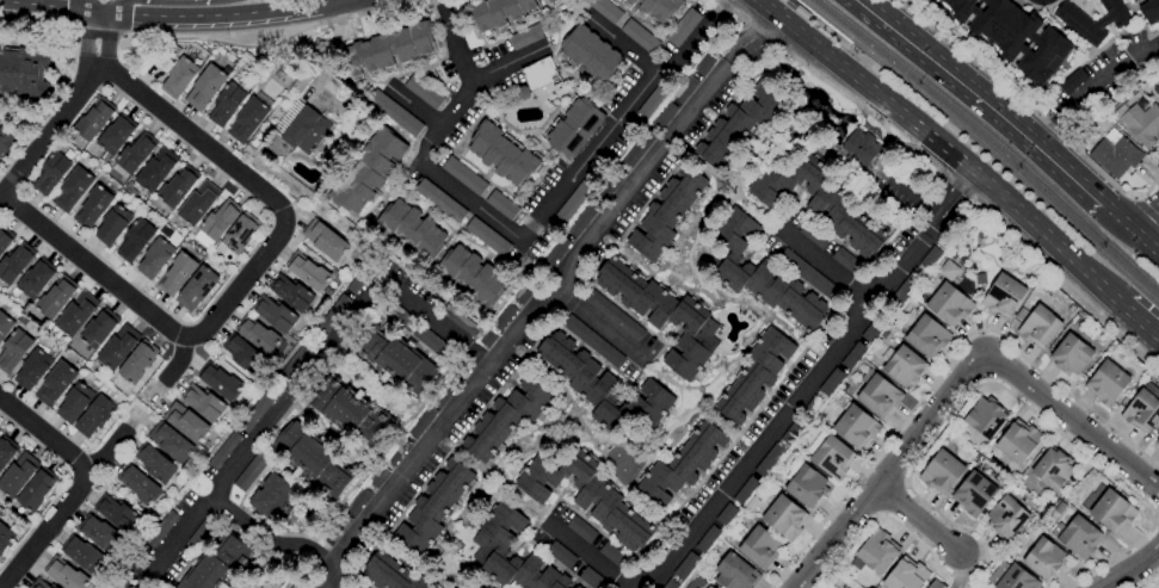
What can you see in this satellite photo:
road: (159, 1)
building: (1134, 1)
building: (553, 2)
road: (722, 4)
road: (84, 5)
road: (50, 6)
building: (656, 8)
building: (796, 8)
road: (372, 11)
building: (605, 11)
building: (1149, 11)
building: (497, 13)
road: (212, 14)
road: (37, 25)
building: (1086, 25)
building: (682, 27)
road: (97, 35)
road: (98, 36)
building: (528, 36)
building: (1013, 36)
building: (640, 37)
road: (695, 41)
road: (451, 42)
road: (230, 45)
building: (388, 50)
railway: (843, 50)
building: (588, 54)
building: (704, 66)
road: (507, 68)
building: (24, 72)
building: (178, 78)
building: (536, 78)
building: (1072, 81)
road: (1092, 86)
building: (205, 87)
building: (684, 88)
building: (423, 92)
road: (984, 98)
building: (654, 101)
building: (228, 103)
road: (413, 107)
road: (1031, 111)
building: (395, 113)
building: (664, 116)
building: (249, 117)
building: (93, 120)
building: (1142, 123)
building: (738, 125)
building: (574, 126)
building: (301, 128)
road: (50, 130)
building: (115, 136)
railway: (994, 138)
building: (6, 141)
railway: (985, 146)
road: (945, 147)
building: (637, 148)
building: (859, 148)
road: (912, 148)
building: (503, 153)
building: (135, 154)
building: (1115, 154)
building: (155, 171)
building: (366, 171)
building: (50, 173)
building: (464, 177)
building: (610, 182)
building: (72, 188)
building: (177, 188)
road: (916, 199)
building: (439, 200)
building: (819, 202)
building: (197, 203)
building: (573, 204)
building: (501, 205)
road: (1145, 206)
building: (93, 208)
road: (547, 209)
building: (667, 215)
building: (582, 218)
building: (218, 222)
building: (112, 225)
road: (1129, 228)
road: (1149, 228)
building: (411, 229)
building: (979, 234)
building: (239, 235)
building: (814, 235)
building: (487, 237)
building: (325, 240)
building: (4, 241)
building: (135, 241)
building: (554, 253)
building: (154, 258)
building: (930, 258)
building: (846, 261)
building: (14, 264)
road: (821, 264)
building: (308, 272)
building: (177, 274)
building: (760, 274)
building: (473, 276)
building: (808, 276)
road: (245, 278)
building: (35, 279)
building: (980, 279)
building: (357, 283)
building: (906, 287)
building: (196, 289)
building: (525, 291)
building: (290, 293)
building: (1003, 296)
road: (544, 298)
building: (55, 299)
building: (948, 304)
building: (334, 312)
building: (275, 314)
building: (75, 315)
building: (612, 315)
building: (662, 315)
building: (1021, 315)
building: (504, 317)
building: (458, 320)
road: (1141, 322)
building: (5, 324)
building: (1038, 327)
building: (99, 328)
road: (592, 328)
building: (871, 332)
building: (257, 335)
road: (1123, 335)
building: (927, 336)
building: (425, 339)
building: (487, 339)
building: (592, 341)
building: (118, 347)
building: (13, 351)
building: (242, 353)
building: (1071, 355)
building: (852, 357)
building: (393, 359)
road: (178, 360)
building: (137, 361)
building: (294, 361)
building: (905, 367)
building: (32, 370)
building: (754, 376)
road: (812, 379)
building: (220, 382)
road: (303, 382)
building: (55, 383)
building: (831, 383)
building: (1106, 383)
building: (603, 388)
building: (444, 392)
building: (879, 396)
road: (1071, 397)
building: (203, 402)
building: (74, 403)
building: (810, 408)
building: (1142, 409)
building: (255, 411)
building: (350, 413)
building: (94, 416)
building: (508, 417)
building: (985, 417)
road: (1071, 419)
building: (186, 422)
building: (421, 422)
building: (856, 427)
building: (791, 432)
road: (938, 434)
building: (171, 441)
building: (1017, 442)
building: (1157, 444)
building: (223, 450)
road: (107, 452)
building: (396, 452)
building: (5, 453)
road: (875, 456)
building: (832, 458)
building: (313, 459)
building: (769, 460)
building: (154, 463)
building: (682, 464)
road: (889, 469)
building: (1053, 469)
building: (251, 471)
building: (941, 472)
building: (18, 475)
building: (377, 476)
building: (804, 483)
road: (82, 484)
building: (137, 484)
building: (36, 489)
building: (745, 490)
building: (973, 494)
building: (587, 496)
building: (273, 497)
building: (358, 499)
building: (434, 507)
building: (1060, 507)
building: (1111, 512)
building: (117, 513)
building: (726, 514)
building: (1006, 516)
building: (784, 518)
road: (917, 518)
building: (338, 526)
building: (160, 530)
building: (581, 530)
building: (98, 533)
building: (201, 534)
building: (5, 537)
road: (267, 537)
building: (1077, 537)
building: (707, 539)
building: (492, 544)
building: (760, 547)
building: (877, 551)
building: (82, 555)
building: (560, 555)
building: (612, 556)
road: (585, 557)
building: (1044, 559)
building: (216, 564)
building: (685, 567)
road: (1132, 568)
building: (735, 572)
building: (392, 574)
building: (64, 575)
building: (905, 575)
building: (591, 578)
building: (1016, 578)
road: (1147, 580)
building: (292, 582)
building: (118, 583)
road: (329, 583)
building: (38, 584)
building: (670, 584)
building: (936, 584)
building: (357, 586)
building: (575, 587)
building: (578, 587)
building: (705, 587)
building: (709, 587)

